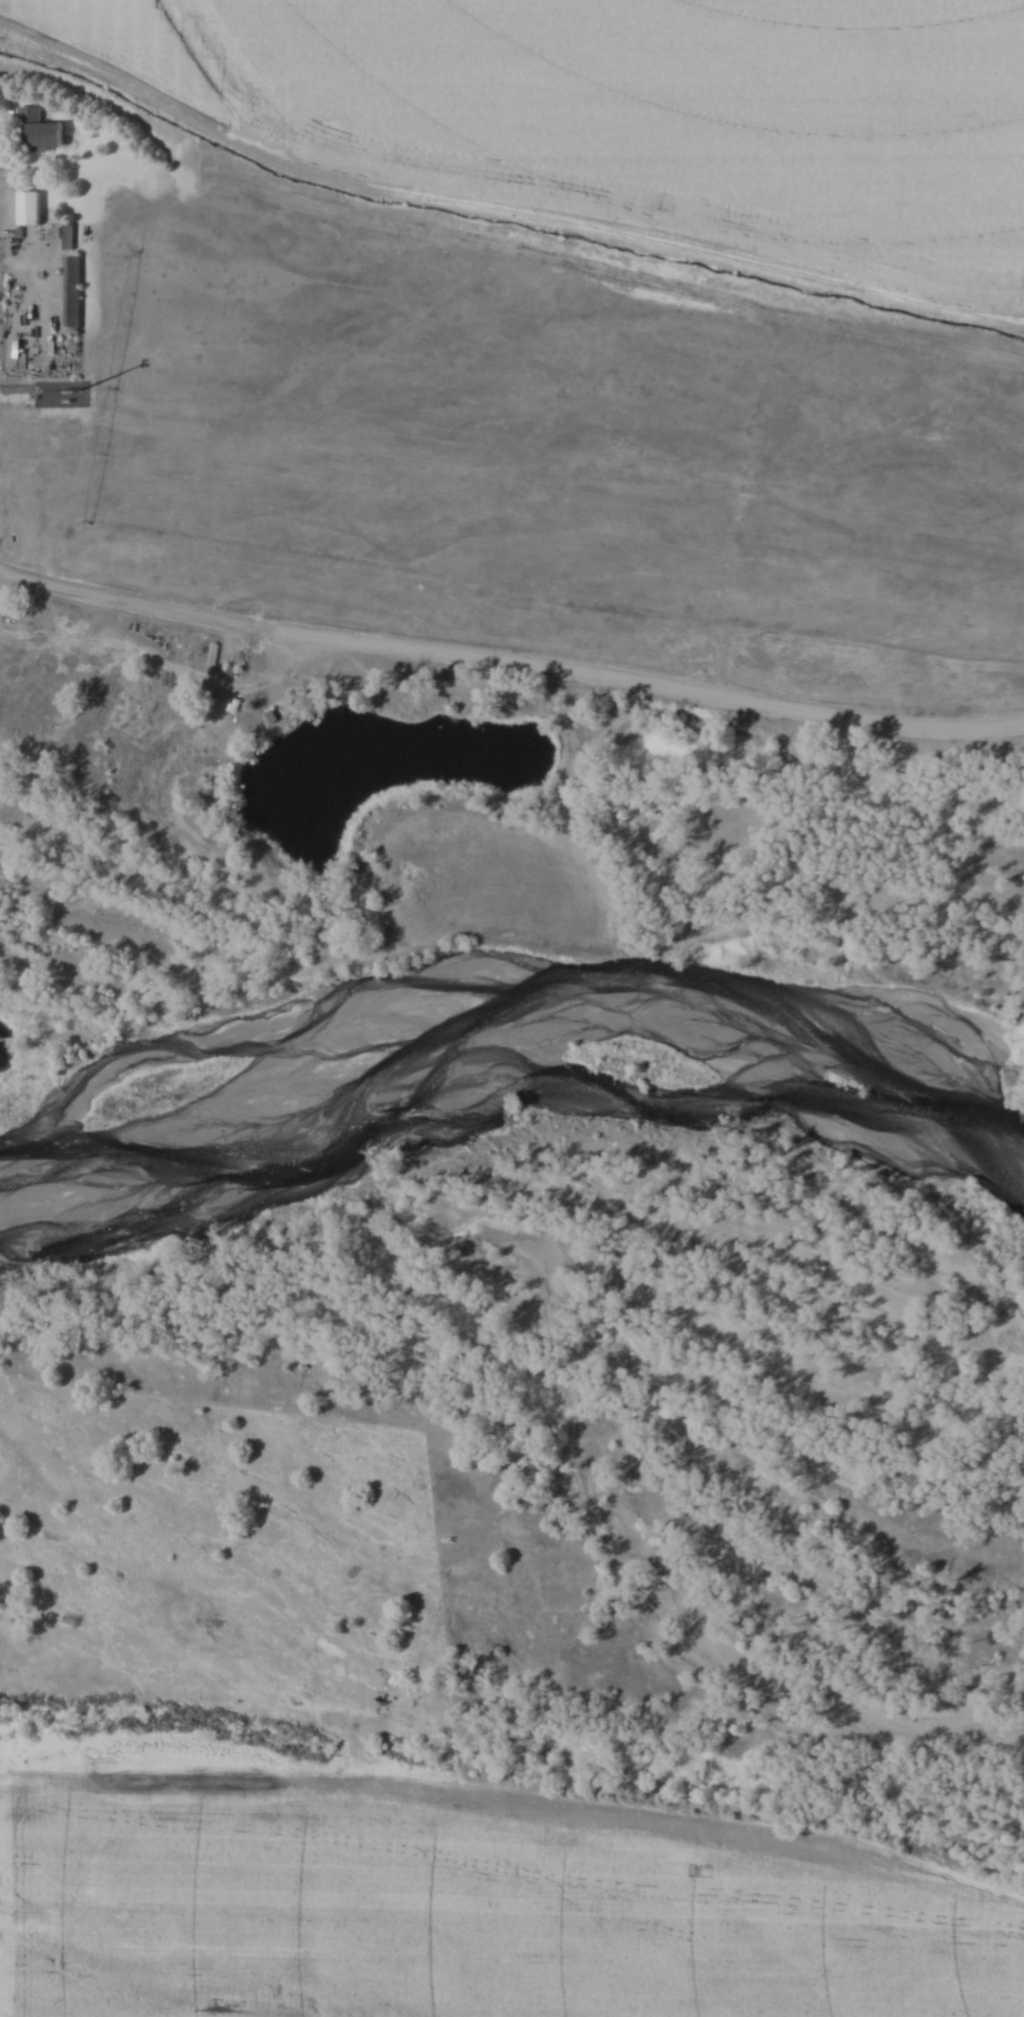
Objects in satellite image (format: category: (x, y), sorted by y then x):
crop: (646, 108)
building: (37, 130)
building: (31, 206)
building: (67, 236)
building: (76, 288)
road: (510, 655)
river: (493, 1069)

